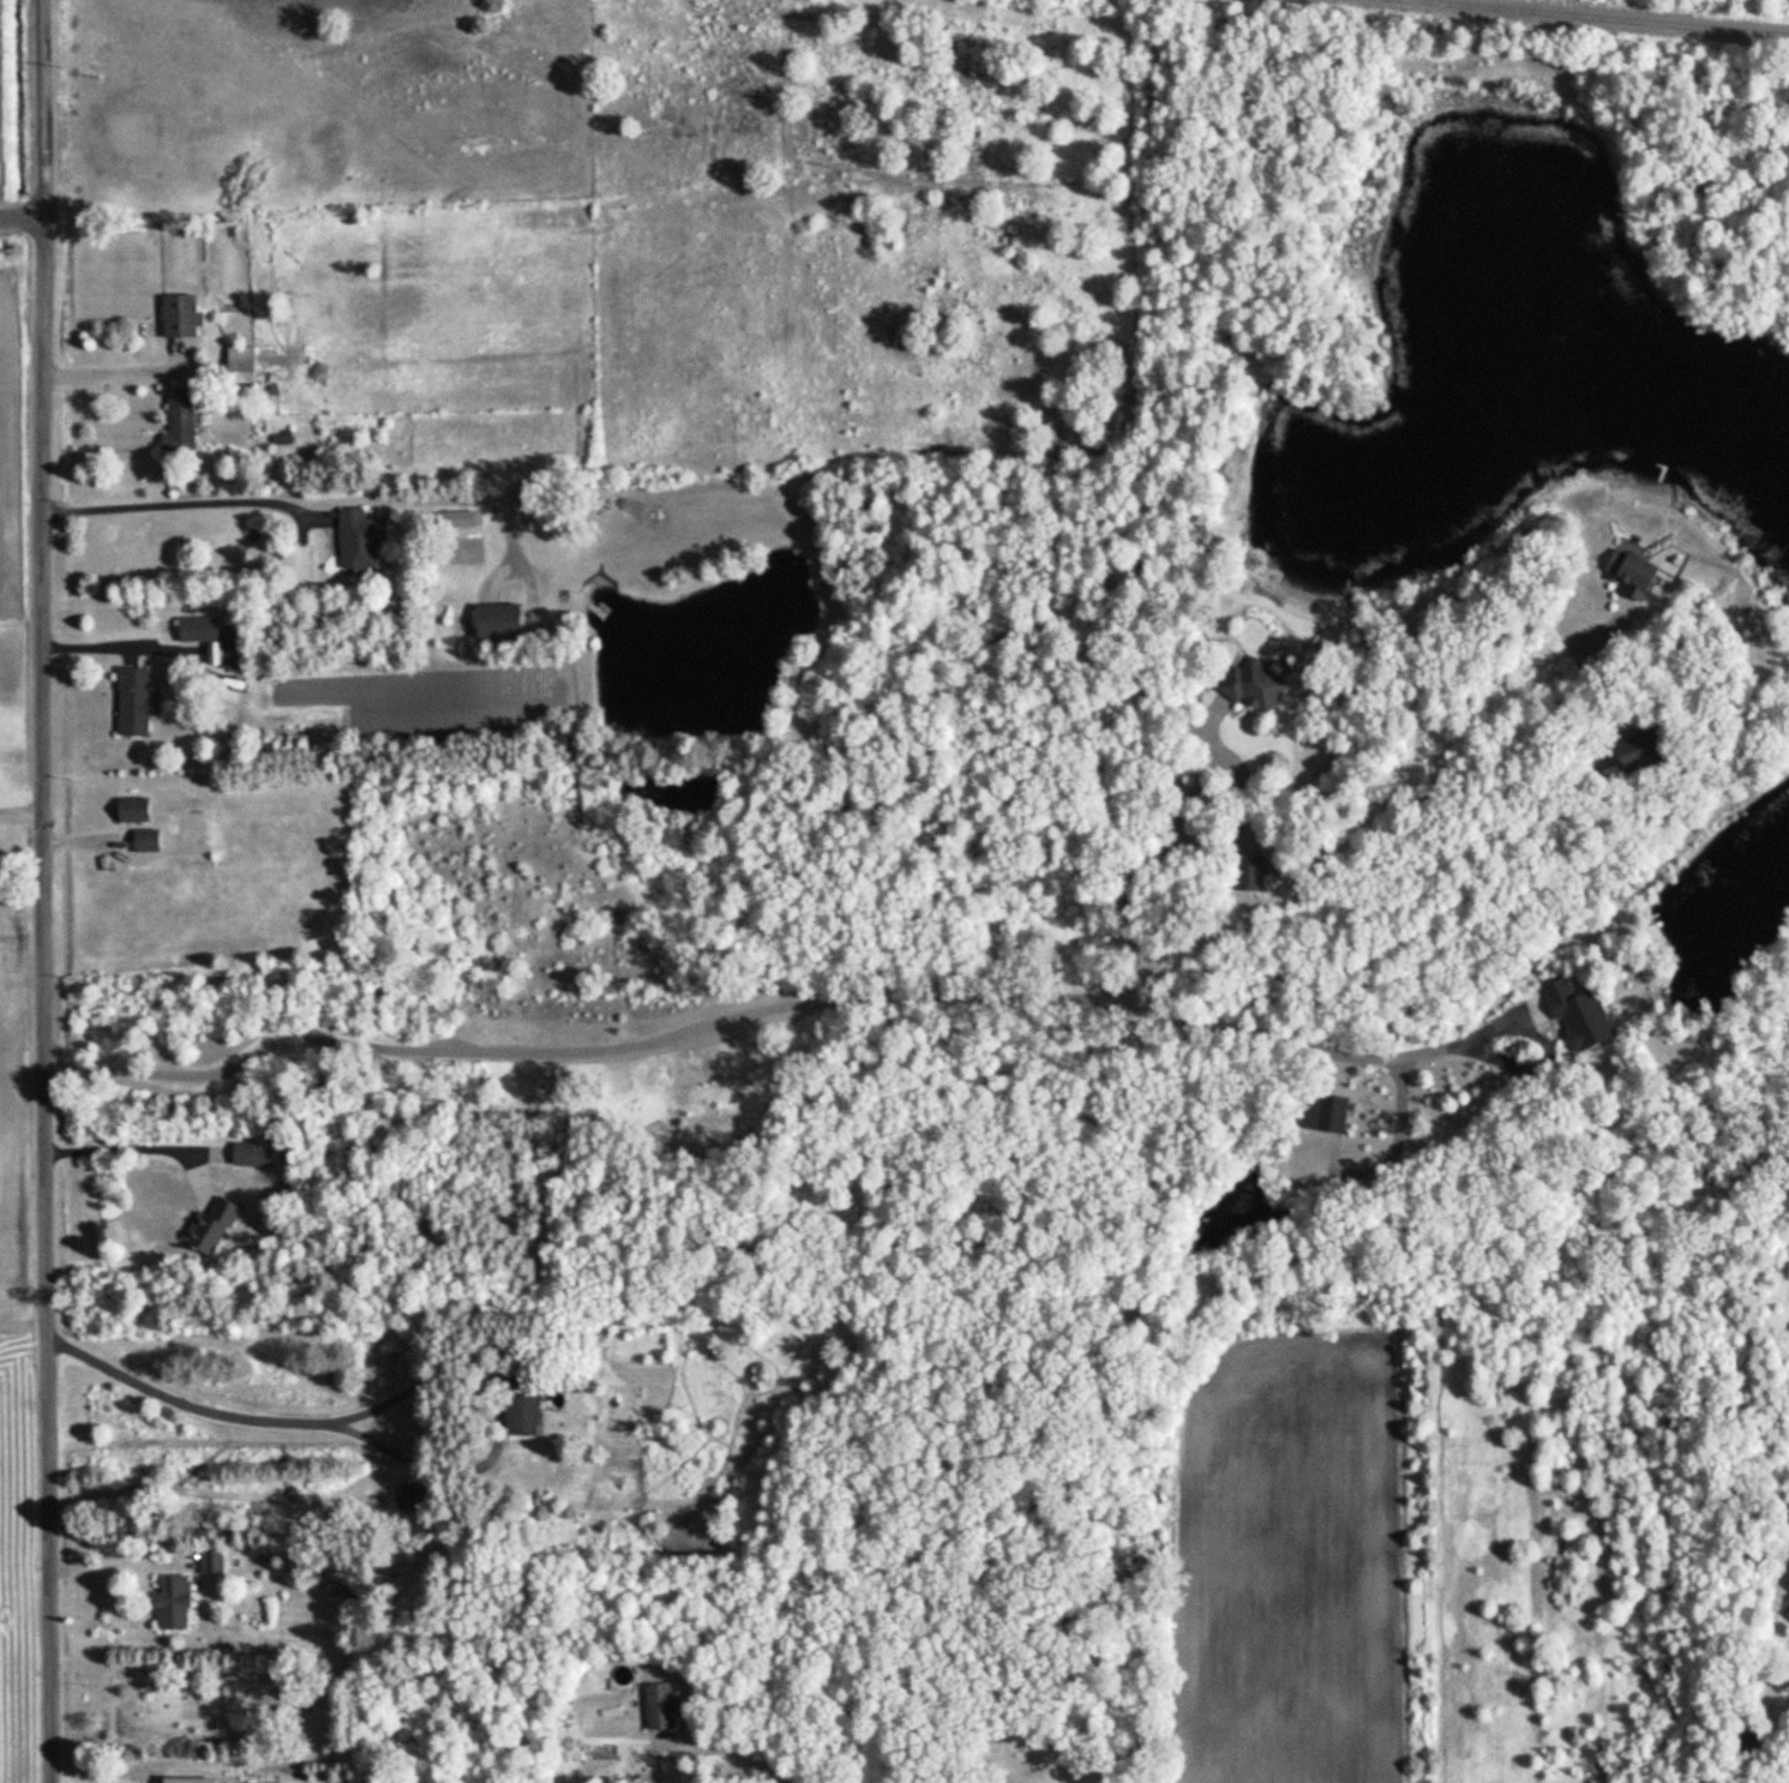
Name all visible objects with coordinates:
railway: (1595, 18)
road: (20, 222)
building: (175, 317)
road: (110, 365)
building: (236, 365)
building: (174, 424)
road: (180, 499)
building: (354, 538)
building: (1623, 572)
building: (490, 622)
building: (197, 635)
road: (109, 648)
building: (1247, 685)
building: (128, 702)
building: (1623, 749)
road: (23, 814)
building: (134, 823)
road: (1151, 851)
building: (1242, 872)
road: (46, 890)
building: (1573, 1014)
road: (574, 1047)
road: (1316, 1051)
building: (1317, 1112)
road: (134, 1143)
building: (250, 1154)
road: (191, 1167)
building: (203, 1229)
road: (228, 1415)
building: (512, 1416)
road: (370, 1437)
building: (206, 1559)
building: (1785, 1584)
building: (167, 1602)
building: (1785, 1613)
road: (1770, 1695)
building: (653, 1706)
road: (742, 1769)

